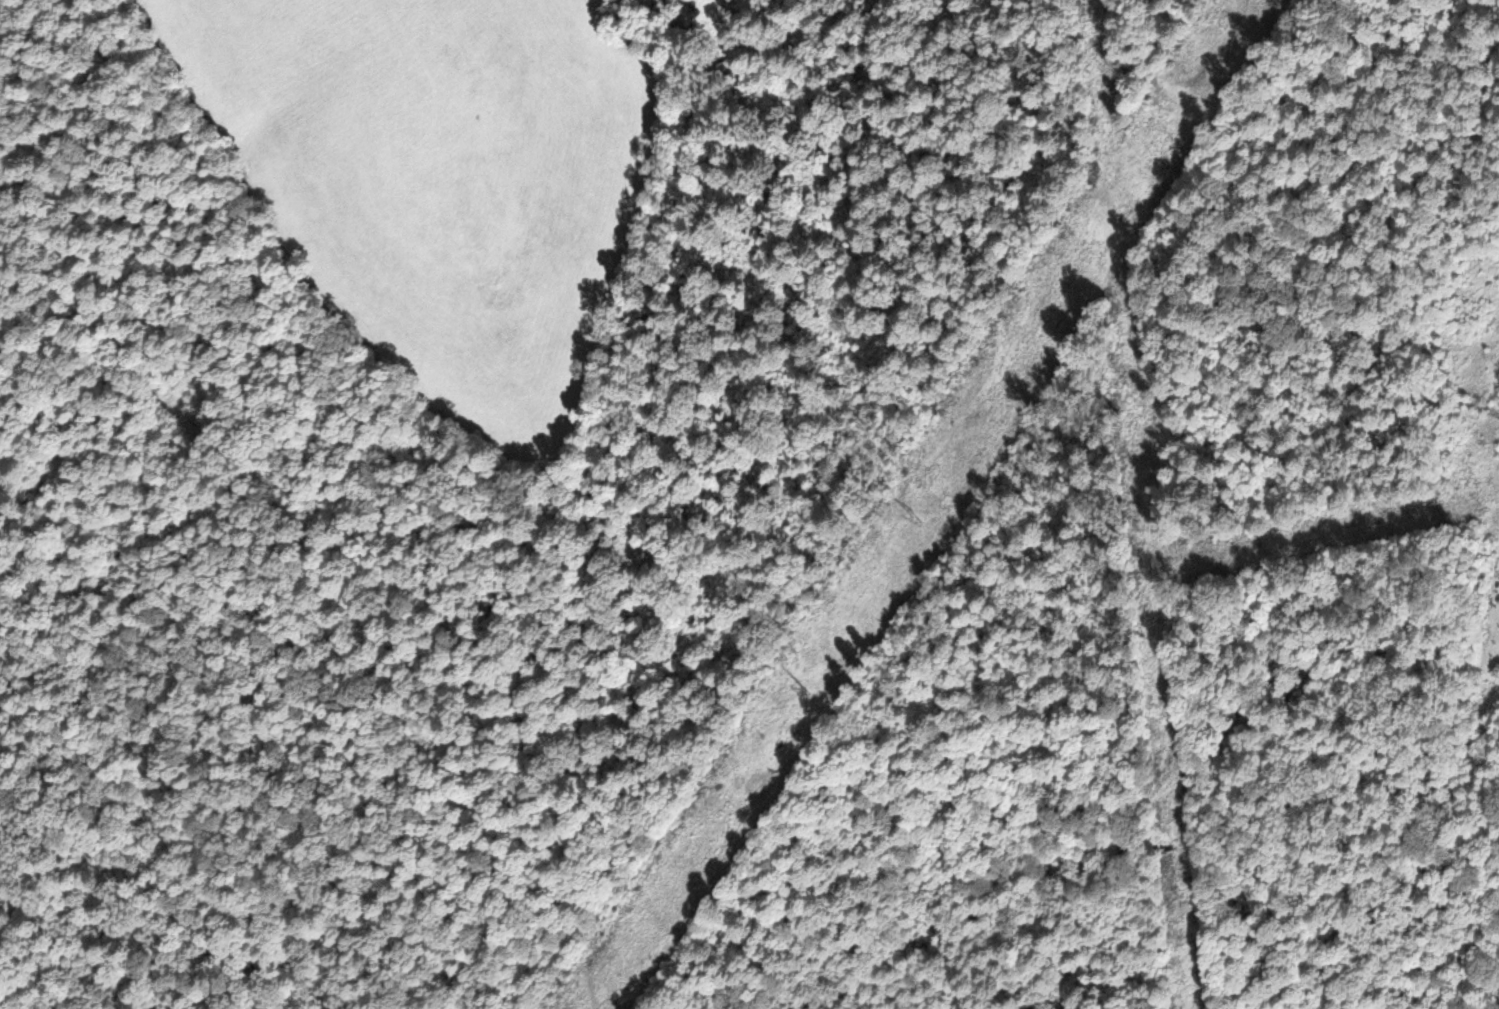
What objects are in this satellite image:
power tower: (918, 518)
power tower: (810, 698)

